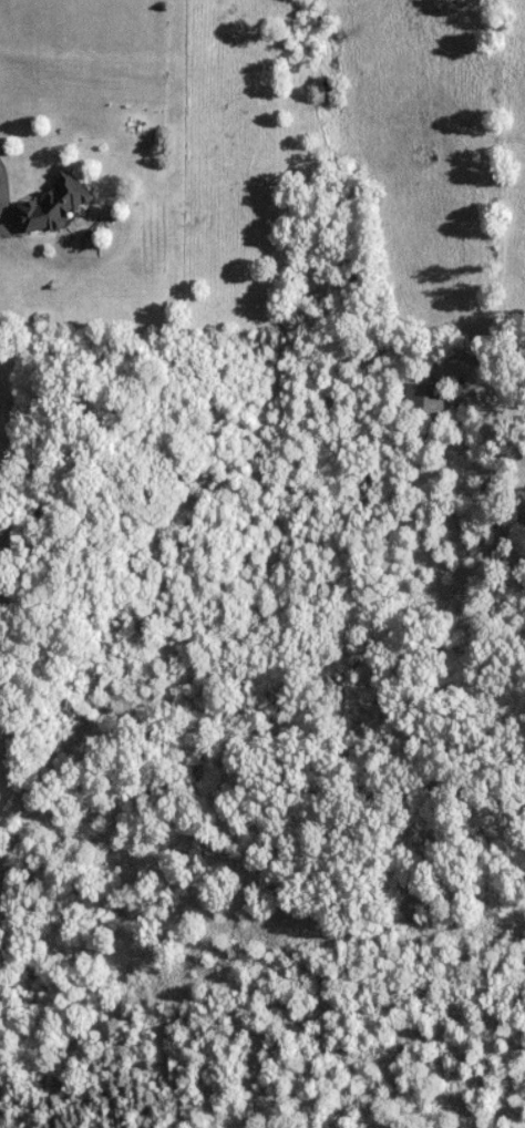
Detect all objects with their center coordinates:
road: (1, 185)
building: (52, 205)
building: (424, 398)

